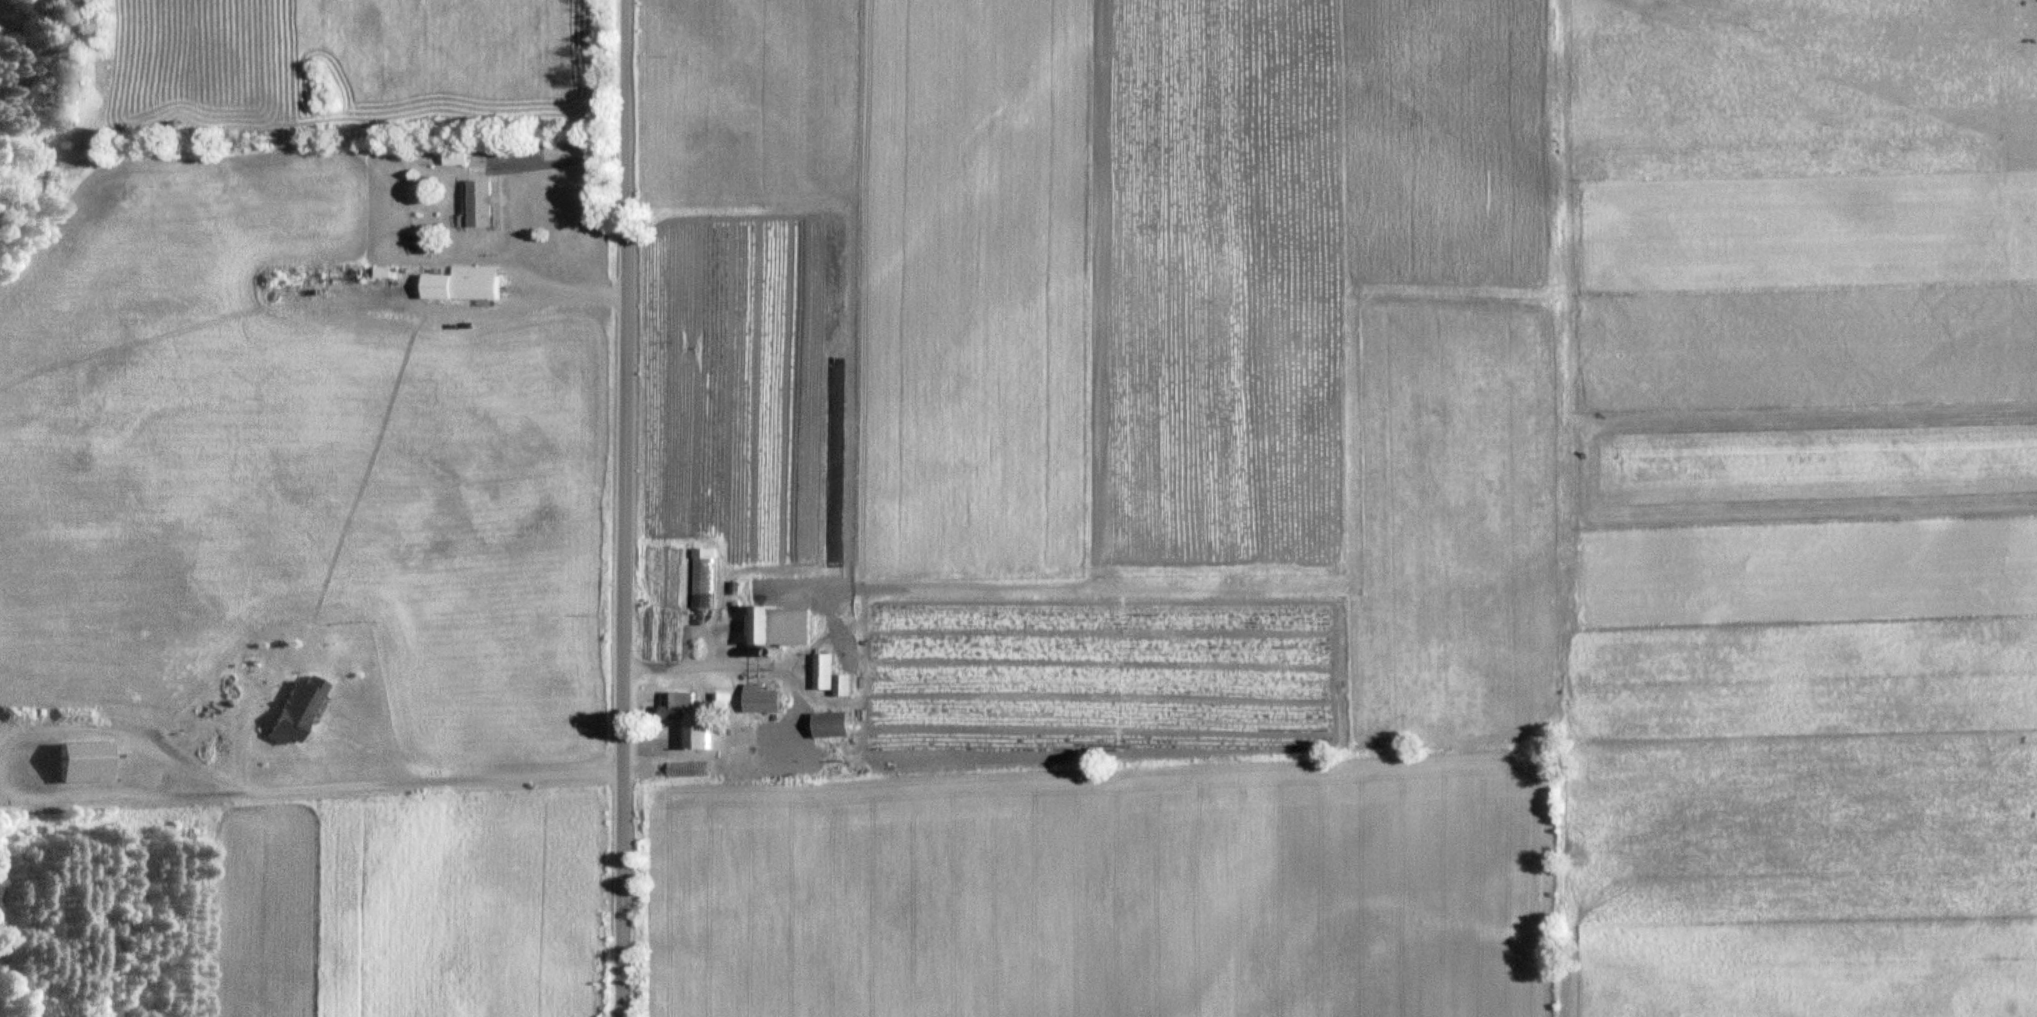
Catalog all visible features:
building: (451, 156)
road: (569, 157)
building: (476, 204)
building: (377, 272)
building: (457, 284)
road: (513, 304)
road: (618, 508)
building: (773, 629)
building: (819, 672)
building: (756, 700)
building: (672, 704)
building: (291, 714)
building: (825, 725)
road: (391, 785)
road: (106, 794)
crop: (1095, 894)

